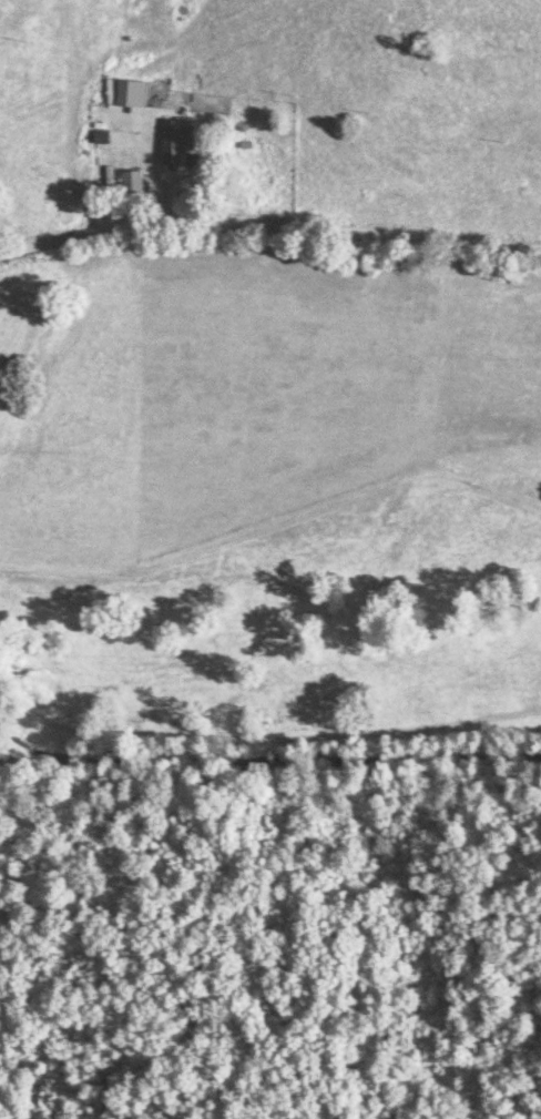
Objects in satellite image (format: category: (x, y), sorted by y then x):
building: (171, 149)
building: (127, 184)
road: (269, 227)

